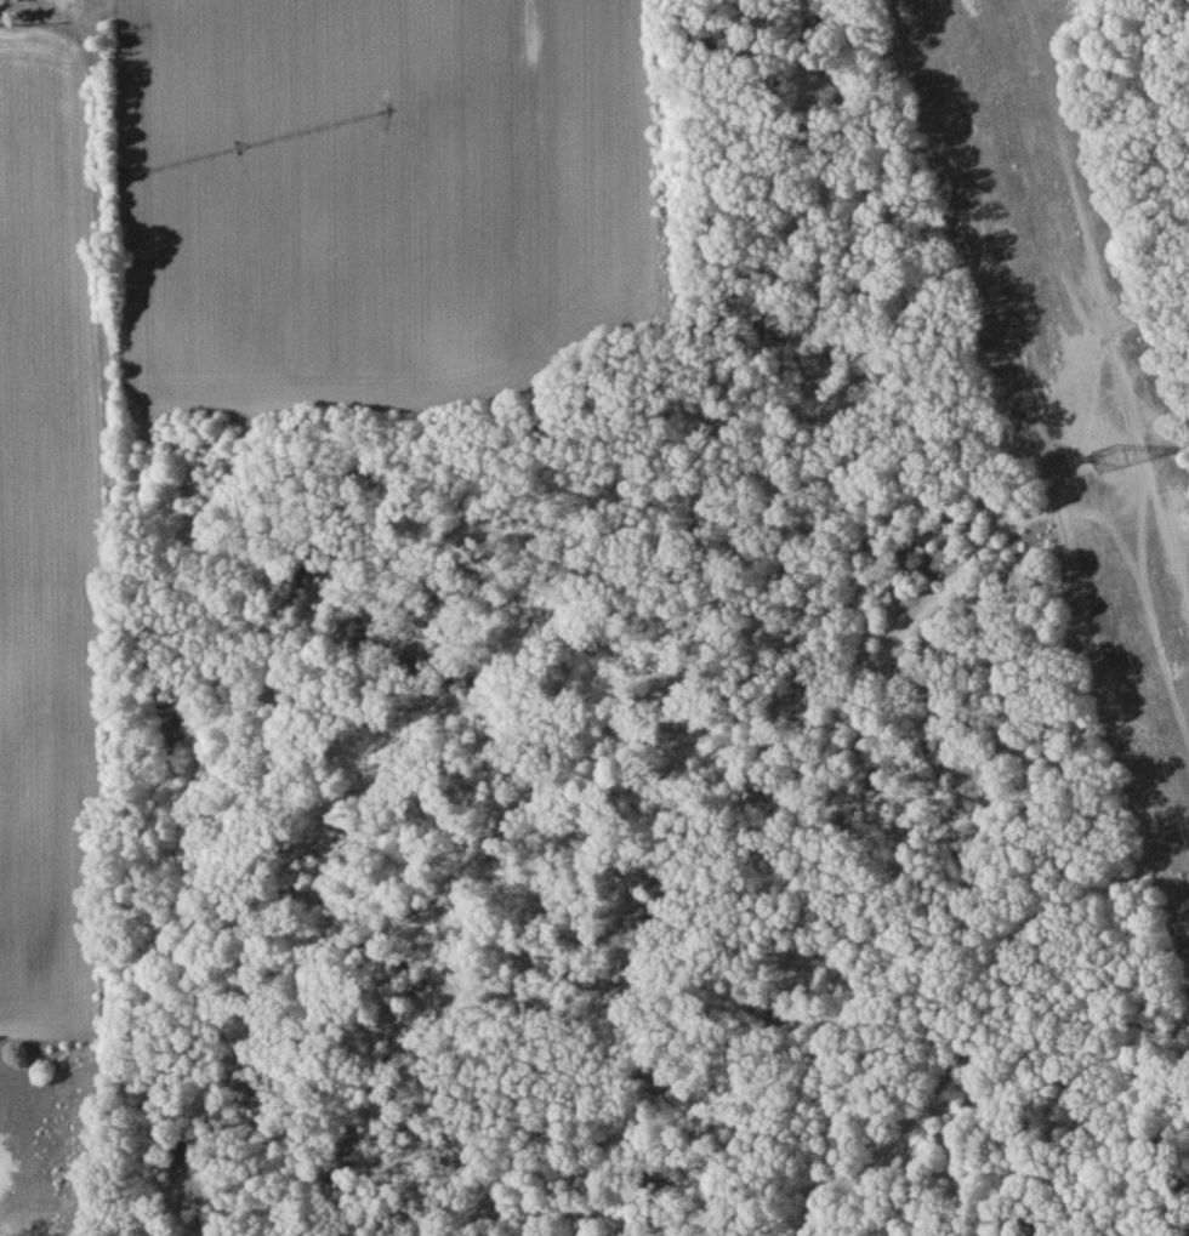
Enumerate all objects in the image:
power tower: (1106, 462)

